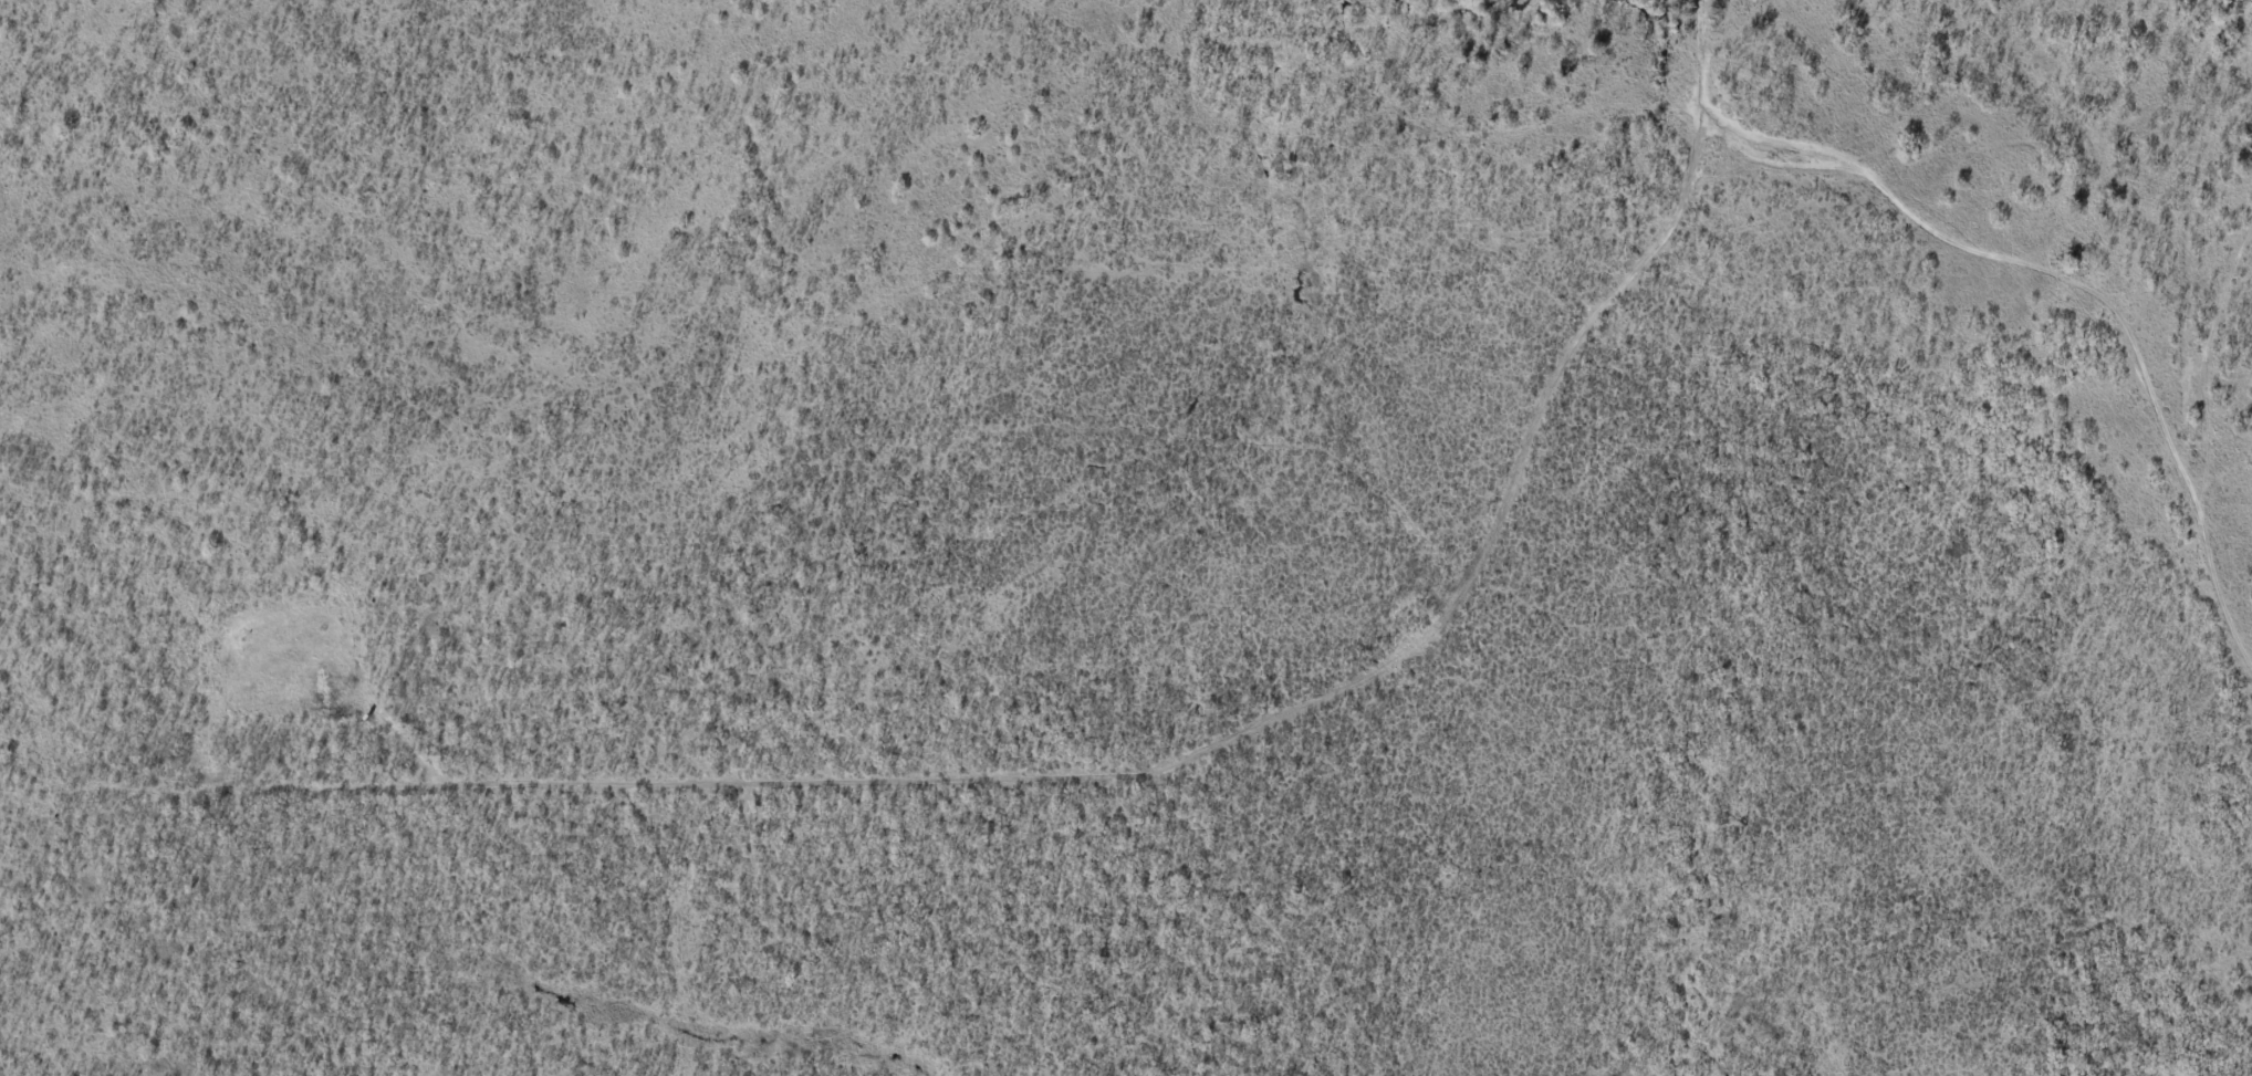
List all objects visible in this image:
road: (2146, 368)

